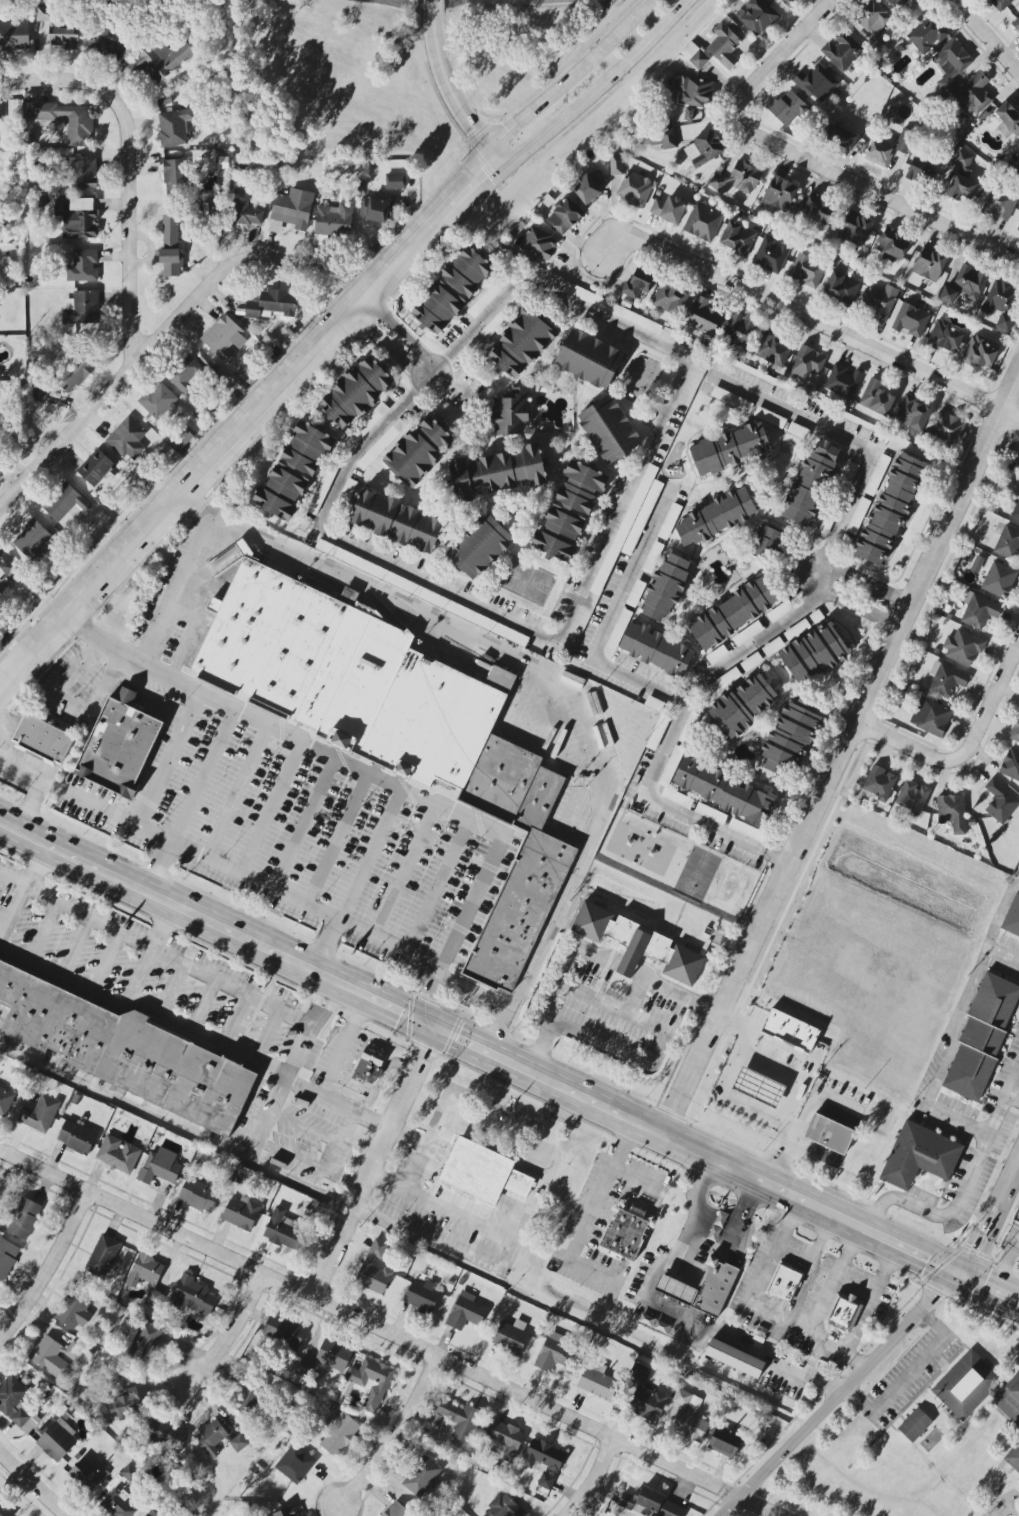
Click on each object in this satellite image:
building: (501, 2)
building: (788, 2)
building: (897, 3)
building: (1001, 4)
building: (45, 14)
building: (757, 15)
building: (871, 24)
building: (1016, 24)
road: (989, 34)
building: (927, 35)
building: (14, 36)
building: (63, 37)
building: (104, 40)
building: (724, 46)
building: (842, 50)
building: (695, 55)
building: (163, 59)
building: (951, 64)
road: (574, 76)
building: (816, 83)
road: (448, 85)
road: (601, 87)
building: (693, 91)
building: (974, 94)
building: (786, 108)
building: (1, 112)
building: (689, 113)
building: (1008, 120)
building: (175, 128)
building: (840, 136)
building: (663, 139)
building: (904, 141)
building: (707, 147)
building: (879, 154)
road: (805, 161)
building: (616, 165)
road: (127, 167)
building: (1018, 168)
building: (921, 171)
building: (83, 173)
building: (175, 177)
building: (745, 177)
building: (962, 179)
building: (396, 181)
building: (717, 182)
building: (589, 186)
building: (635, 189)
building: (780, 194)
building: (999, 205)
building: (377, 209)
building: (668, 209)
building: (818, 209)
building: (245, 210)
building: (292, 210)
building: (564, 215)
building: (76, 216)
building: (334, 219)
building: (702, 221)
building: (1018, 228)
building: (855, 229)
building: (737, 238)
building: (538, 242)
building: (171, 245)
building: (894, 246)
building: (771, 254)
building: (929, 264)
building: (83, 266)
building: (807, 270)
building: (638, 283)
building: (842, 285)
building: (965, 285)
building: (452, 290)
building: (486, 298)
building: (670, 299)
building: (879, 301)
building: (1001, 303)
building: (272, 304)
building: (81, 308)
building: (612, 308)
building: (703, 316)
road: (485, 320)
building: (911, 320)
road: (812, 323)
building: (492, 327)
building: (740, 331)
road: (400, 332)
road: (153, 336)
building: (224, 337)
building: (946, 337)
building: (520, 345)
building: (773, 350)
building: (980, 352)
building: (589, 359)
building: (807, 362)
building: (75, 374)
building: (186, 375)
building: (844, 380)
building: (40, 393)
building: (355, 393)
building: (876, 398)
building: (731, 399)
building: (160, 401)
building: (913, 413)
road: (248, 422)
building: (609, 429)
building: (947, 429)
building: (128, 439)
building: (180, 439)
building: (381, 444)
road: (857, 447)
building: (730, 448)
building: (419, 452)
building: (96, 467)
building: (293, 472)
building: (497, 472)
building: (811, 482)
building: (66, 503)
building: (890, 510)
building: (569, 512)
building: (1016, 512)
building: (858, 515)
building: (716, 517)
building: (397, 521)
building: (669, 521)
building: (32, 539)
building: (768, 543)
building: (1008, 543)
building: (479, 547)
building: (652, 557)
building: (6, 565)
building: (999, 580)
park: (527, 581)
road: (871, 587)
building: (666, 588)
road: (176, 591)
road: (203, 604)
building: (979, 610)
building: (780, 611)
road: (859, 611)
building: (734, 612)
road: (748, 647)
building: (962, 647)
building: (656, 650)
building: (814, 653)
road: (557, 677)
building: (946, 680)
road: (669, 697)
road: (68, 705)
building: (743, 705)
road: (991, 705)
road: (144, 706)
road: (546, 711)
building: (931, 717)
building: (394, 726)
road: (3, 730)
building: (1015, 731)
building: (658, 732)
building: (792, 735)
building: (42, 739)
road: (523, 739)
road: (908, 745)
building: (118, 748)
road: (168, 759)
road: (840, 759)
building: (1011, 765)
road: (375, 775)
road: (204, 776)
building: (880, 783)
road: (36, 786)
building: (722, 789)
road: (235, 791)
building: (912, 797)
building: (1001, 801)
road: (269, 808)
building: (710, 813)
building: (952, 813)
road: (303, 824)
building: (746, 830)
road: (337, 839)
building: (630, 842)
building: (652, 853)
road: (372, 856)
road: (157, 868)
road: (402, 871)
park: (697, 874)
road: (251, 882)
road: (436, 887)
road: (9, 905)
building: (1012, 918)
road: (1, 920)
building: (638, 944)
road: (323, 946)
road: (156, 949)
road: (151, 952)
road: (1002, 955)
road: (629, 966)
road: (560, 990)
road: (678, 992)
road: (472, 993)
road: (145, 1006)
road: (731, 1023)
road: (957, 1027)
building: (789, 1031)
building: (982, 1036)
road: (343, 1048)
building: (126, 1051)
building: (370, 1065)
road: (508, 1065)
road: (727, 1066)
road: (289, 1071)
building: (758, 1087)
road: (1012, 1099)
building: (5, 1102)
road: (336, 1106)
building: (40, 1114)
road: (175, 1128)
building: (828, 1134)
building: (76, 1137)
road: (422, 1150)
building: (118, 1154)
building: (919, 1156)
road: (372, 1164)
building: (160, 1167)
building: (476, 1170)
road: (963, 1189)
building: (199, 1195)
building: (241, 1213)
road: (584, 1217)
building: (24, 1218)
building: (281, 1229)
road: (509, 1232)
building: (625, 1234)
road: (693, 1234)
road: (411, 1236)
road: (487, 1254)
building: (103, 1256)
building: (6, 1260)
road: (1005, 1263)
building: (375, 1269)
road: (49, 1270)
building: (148, 1277)
building: (784, 1283)
building: (676, 1289)
building: (192, 1296)
building: (422, 1296)
road: (875, 1298)
road: (819, 1307)
building: (75, 1309)
building: (465, 1311)
building: (843, 1311)
road: (765, 1316)
building: (283, 1332)
road: (232, 1333)
road: (389, 1334)
building: (511, 1336)
building: (142, 1341)
road: (741, 1345)
road: (883, 1346)
building: (554, 1353)
building: (334, 1355)
building: (55, 1356)
building: (734, 1359)
building: (305, 1366)
road: (908, 1372)
building: (597, 1381)
building: (371, 1382)
building: (967, 1384)
building: (247, 1394)
building: (646, 1396)
building: (127, 1400)
building: (17, 1405)
building: (689, 1416)
building: (460, 1418)
building: (914, 1425)
building: (168, 1432)
building: (339, 1434)
building: (217, 1438)
building: (504, 1438)
building: (57, 1440)
road: (395, 1441)
building: (725, 1442)
building: (1013, 1457)
building: (544, 1461)
building: (295, 1464)
building: (129, 1473)
building: (86, 1474)
building: (422, 1476)
road: (595, 1480)
road: (32, 1484)
building: (642, 1501)
building: (118, 1503)
building: (504, 1507)
building: (397, 1510)
building: (670, 1510)
building: (285, 1512)
building: (152, 1513)

